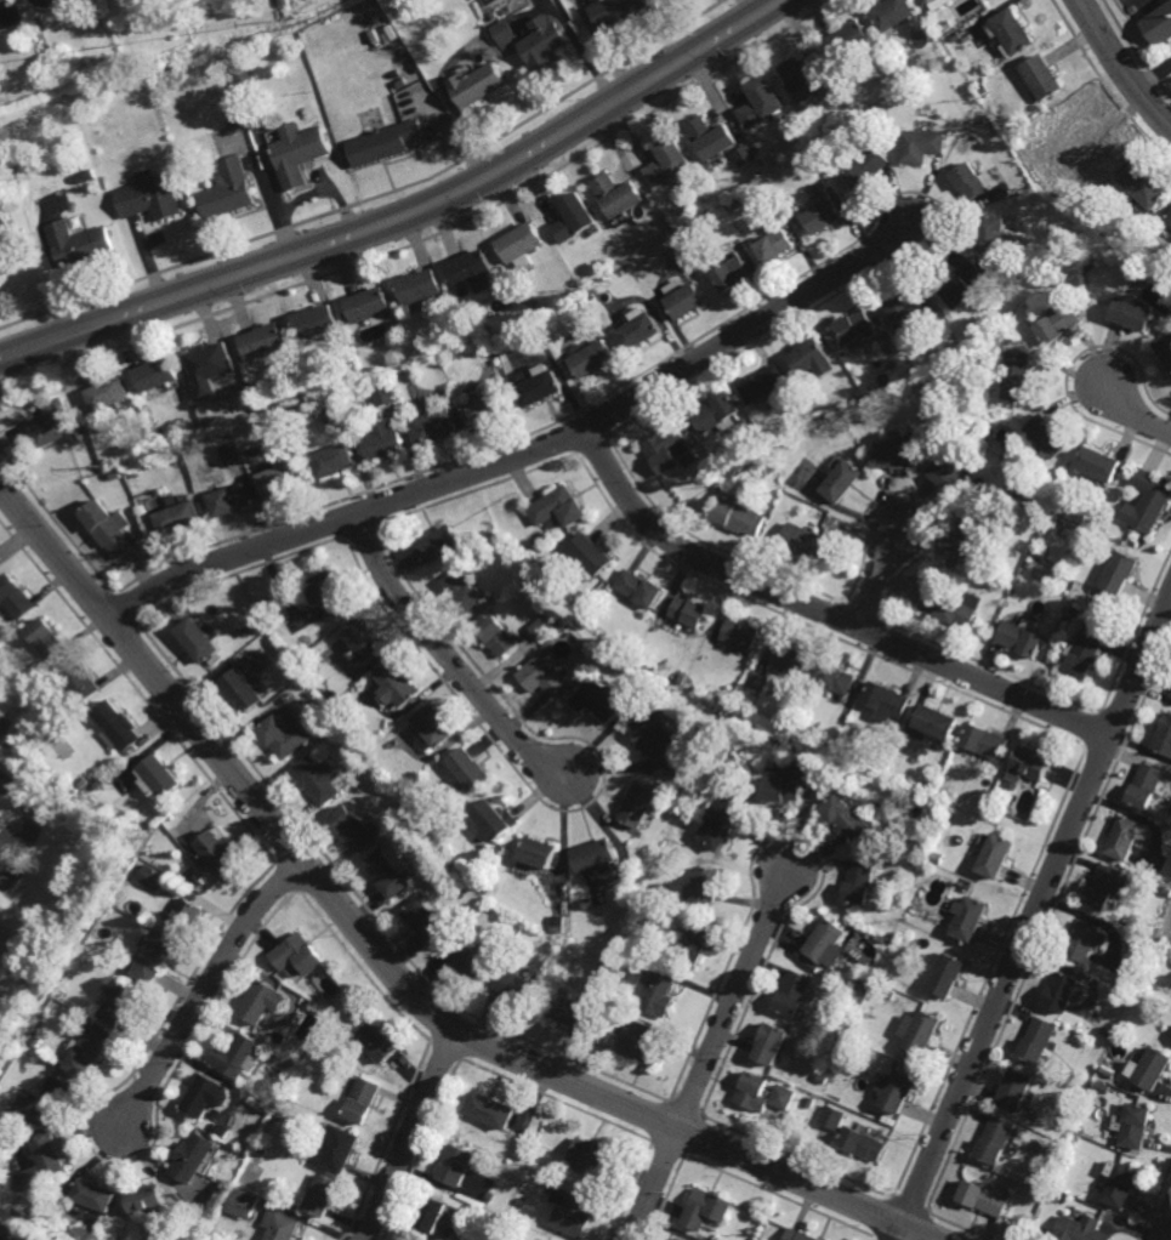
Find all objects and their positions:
building: (2, 0)
building: (279, 2)
building: (931, 2)
building: (618, 8)
building: (889, 13)
building: (493, 15)
building: (948, 21)
building: (1158, 21)
building: (1012, 28)
building: (505, 32)
building: (955, 34)
building: (846, 35)
building: (544, 42)
building: (229, 53)
building: (942, 53)
road: (1121, 66)
building: (1042, 73)
building: (908, 74)
building: (803, 75)
road: (1154, 75)
building: (142, 76)
building: (244, 79)
building: (477, 81)
building: (913, 86)
building: (758, 98)
building: (228, 103)
building: (343, 109)
building: (978, 115)
building: (235, 119)
building: (1081, 129)
building: (707, 133)
building: (383, 140)
building: (920, 142)
building: (815, 148)
building: (297, 150)
building: (743, 152)
building: (665, 157)
building: (865, 165)
building: (78, 167)
building: (85, 176)
building: (968, 178)
building: (1144, 183)
building: (229, 188)
building: (616, 192)
building: (150, 195)
building: (737, 200)
building: (822, 210)
road: (407, 215)
building: (573, 215)
building: (1169, 217)
building: (990, 231)
building: (669, 239)
building: (773, 241)
building: (80, 243)
building: (519, 243)
building: (699, 254)
building: (470, 268)
building: (729, 271)
building: (965, 281)
building: (416, 284)
building: (673, 286)
building: (591, 291)
building: (530, 298)
building: (582, 298)
building: (683, 300)
building: (391, 301)
building: (365, 305)
building: (908, 308)
building: (1130, 313)
building: (311, 320)
building: (1057, 322)
building: (853, 324)
building: (485, 328)
building: (636, 329)
building: (262, 340)
building: (1165, 348)
building: (591, 357)
building: (811, 357)
building: (210, 359)
building: (157, 372)
building: (1018, 374)
building: (882, 379)
building: (761, 382)
building: (538, 385)
building: (108, 393)
building: (381, 393)
building: (488, 408)
building: (712, 410)
road: (1133, 411)
building: (292, 414)
building: (332, 416)
building: (55, 422)
building: (432, 425)
building: (250, 431)
building: (1047, 436)
building: (380, 440)
building: (663, 448)
building: (234, 453)
road: (525, 453)
building: (893, 455)
building: (329, 461)
building: (1097, 463)
building: (711, 471)
building: (115, 473)
building: (279, 477)
building: (949, 477)
building: (841, 480)
building: (1016, 490)
building: (232, 500)
building: (1144, 501)
building: (557, 507)
building: (735, 516)
building: (178, 517)
building: (1096, 523)
building: (107, 528)
building: (970, 536)
building: (498, 540)
building: (807, 541)
building: (437, 544)
building: (521, 550)
building: (590, 553)
building: (1118, 573)
road: (879, 578)
building: (637, 588)
building: (459, 591)
building: (325, 593)
building: (15, 597)
building: (949, 607)
building: (687, 612)
building: (1070, 612)
road: (824, 613)
building: (659, 619)
building: (540, 627)
building: (246, 631)
building: (739, 633)
building: (494, 636)
building: (44, 638)
building: (1022, 639)
building: (197, 641)
building: (360, 642)
building: (581, 647)
building: (540, 648)
building: (1081, 655)
road: (449, 658)
building: (789, 659)
building: (540, 677)
building: (836, 678)
building: (757, 679)
building: (79, 682)
building: (649, 686)
building: (393, 687)
building: (241, 692)
building: (886, 699)
building: (731, 700)
building: (599, 701)
building: (846, 712)
building: (936, 721)
building: (853, 724)
building: (118, 727)
building: (431, 727)
building: (744, 730)
building: (654, 736)
building: (1163, 736)
building: (284, 738)
building: (985, 739)
building: (1030, 761)
building: (466, 766)
building: (809, 772)
building: (160, 775)
building: (316, 778)
building: (83, 780)
building: (100, 781)
building: (1014, 784)
building: (1147, 784)
building: (781, 787)
building: (932, 787)
building: (638, 802)
building: (845, 814)
building: (494, 815)
building: (723, 819)
road: (29, 821)
building: (348, 825)
building: (1125, 836)
building: (217, 849)
building: (538, 851)
building: (595, 853)
building: (996, 853)
building: (938, 855)
building: (59, 859)
building: (915, 865)
building: (388, 868)
building: (450, 870)
building: (477, 875)
building: (153, 876)
building: (858, 880)
building: (706, 881)
building: (1103, 885)
building: (1169, 891)
building: (69, 900)
road: (1038, 908)
building: (184, 915)
building: (968, 916)
building: (424, 918)
building: (557, 922)
building: (881, 938)
building: (1082, 939)
building: (695, 942)
building: (826, 943)
building: (297, 952)
building: (154, 956)
building: (466, 959)
road: (387, 965)
building: (947, 972)
building: (1124, 982)
building: (516, 985)
road: (206, 988)
building: (660, 991)
building: (792, 991)
building: (889, 991)
building: (1062, 991)
road: (734, 995)
building: (120, 1000)
building: (263, 1000)
building: (565, 1008)
building: (343, 1013)
building: (920, 1030)
building: (839, 1033)
building: (1038, 1039)
building: (376, 1041)
building: (639, 1042)
building: (769, 1042)
building: (86, 1051)
building: (239, 1054)
building: (842, 1068)
building: (1149, 1068)
building: (1108, 1070)
building: (896, 1090)
building: (1016, 1090)
building: (752, 1091)
building: (53, 1094)
building: (208, 1094)
building: (783, 1097)
building: (362, 1100)
building: (811, 1102)
building: (489, 1109)
building: (280, 1113)
building: (832, 1116)
building: (216, 1125)
building: (1135, 1125)
building: (224, 1130)
road: (409, 1134)
building: (995, 1139)
building: (862, 1143)
building: (340, 1147)
building: (263, 1149)
building: (591, 1155)
building: (193, 1156)
building: (42, 1164)
building: (455, 1165)
building: (1040, 1182)
building: (1058, 1182)
road: (653, 1183)
building: (1119, 1183)
building: (1055, 1193)
building: (95, 1194)
building: (322, 1194)
building: (490, 1195)
building: (147, 1198)
building: (983, 1198)
building: (522, 1201)
building: (244, 1202)
building: (706, 1208)
building: (432, 1215)
building: (572, 1215)
building: (283, 1227)
road: (1165, 1228)
building: (1080, 1229)
road: (899, 1232)
building: (797, 1235)
building: (4, 1236)
building: (678, 1238)
building: (15, 1239)

